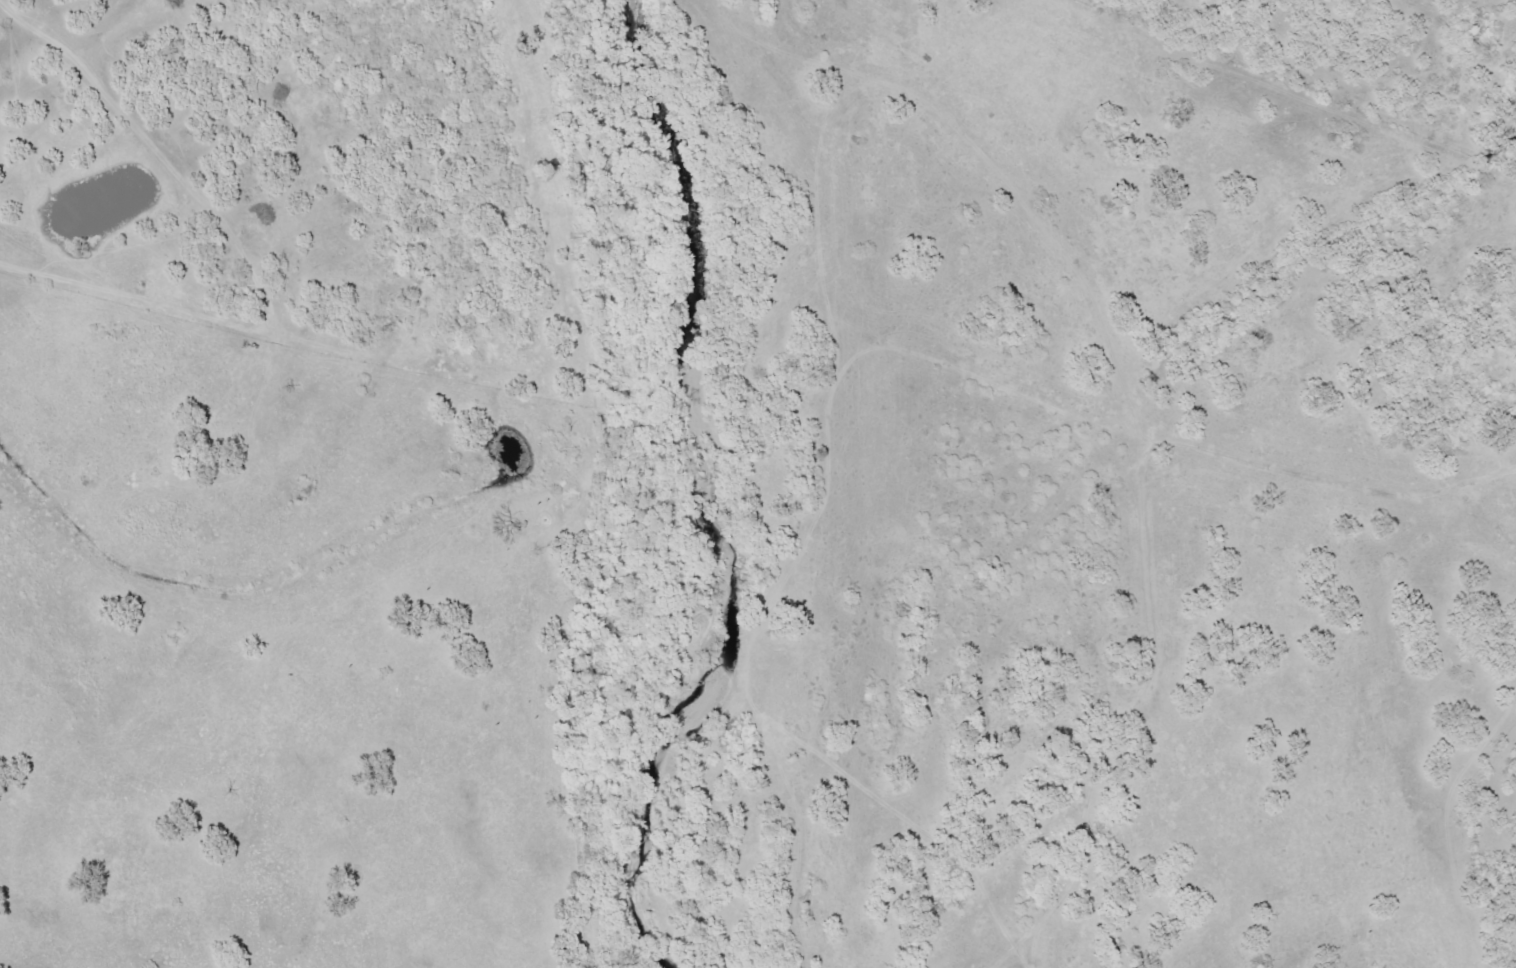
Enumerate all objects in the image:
road: (1511, 955)

